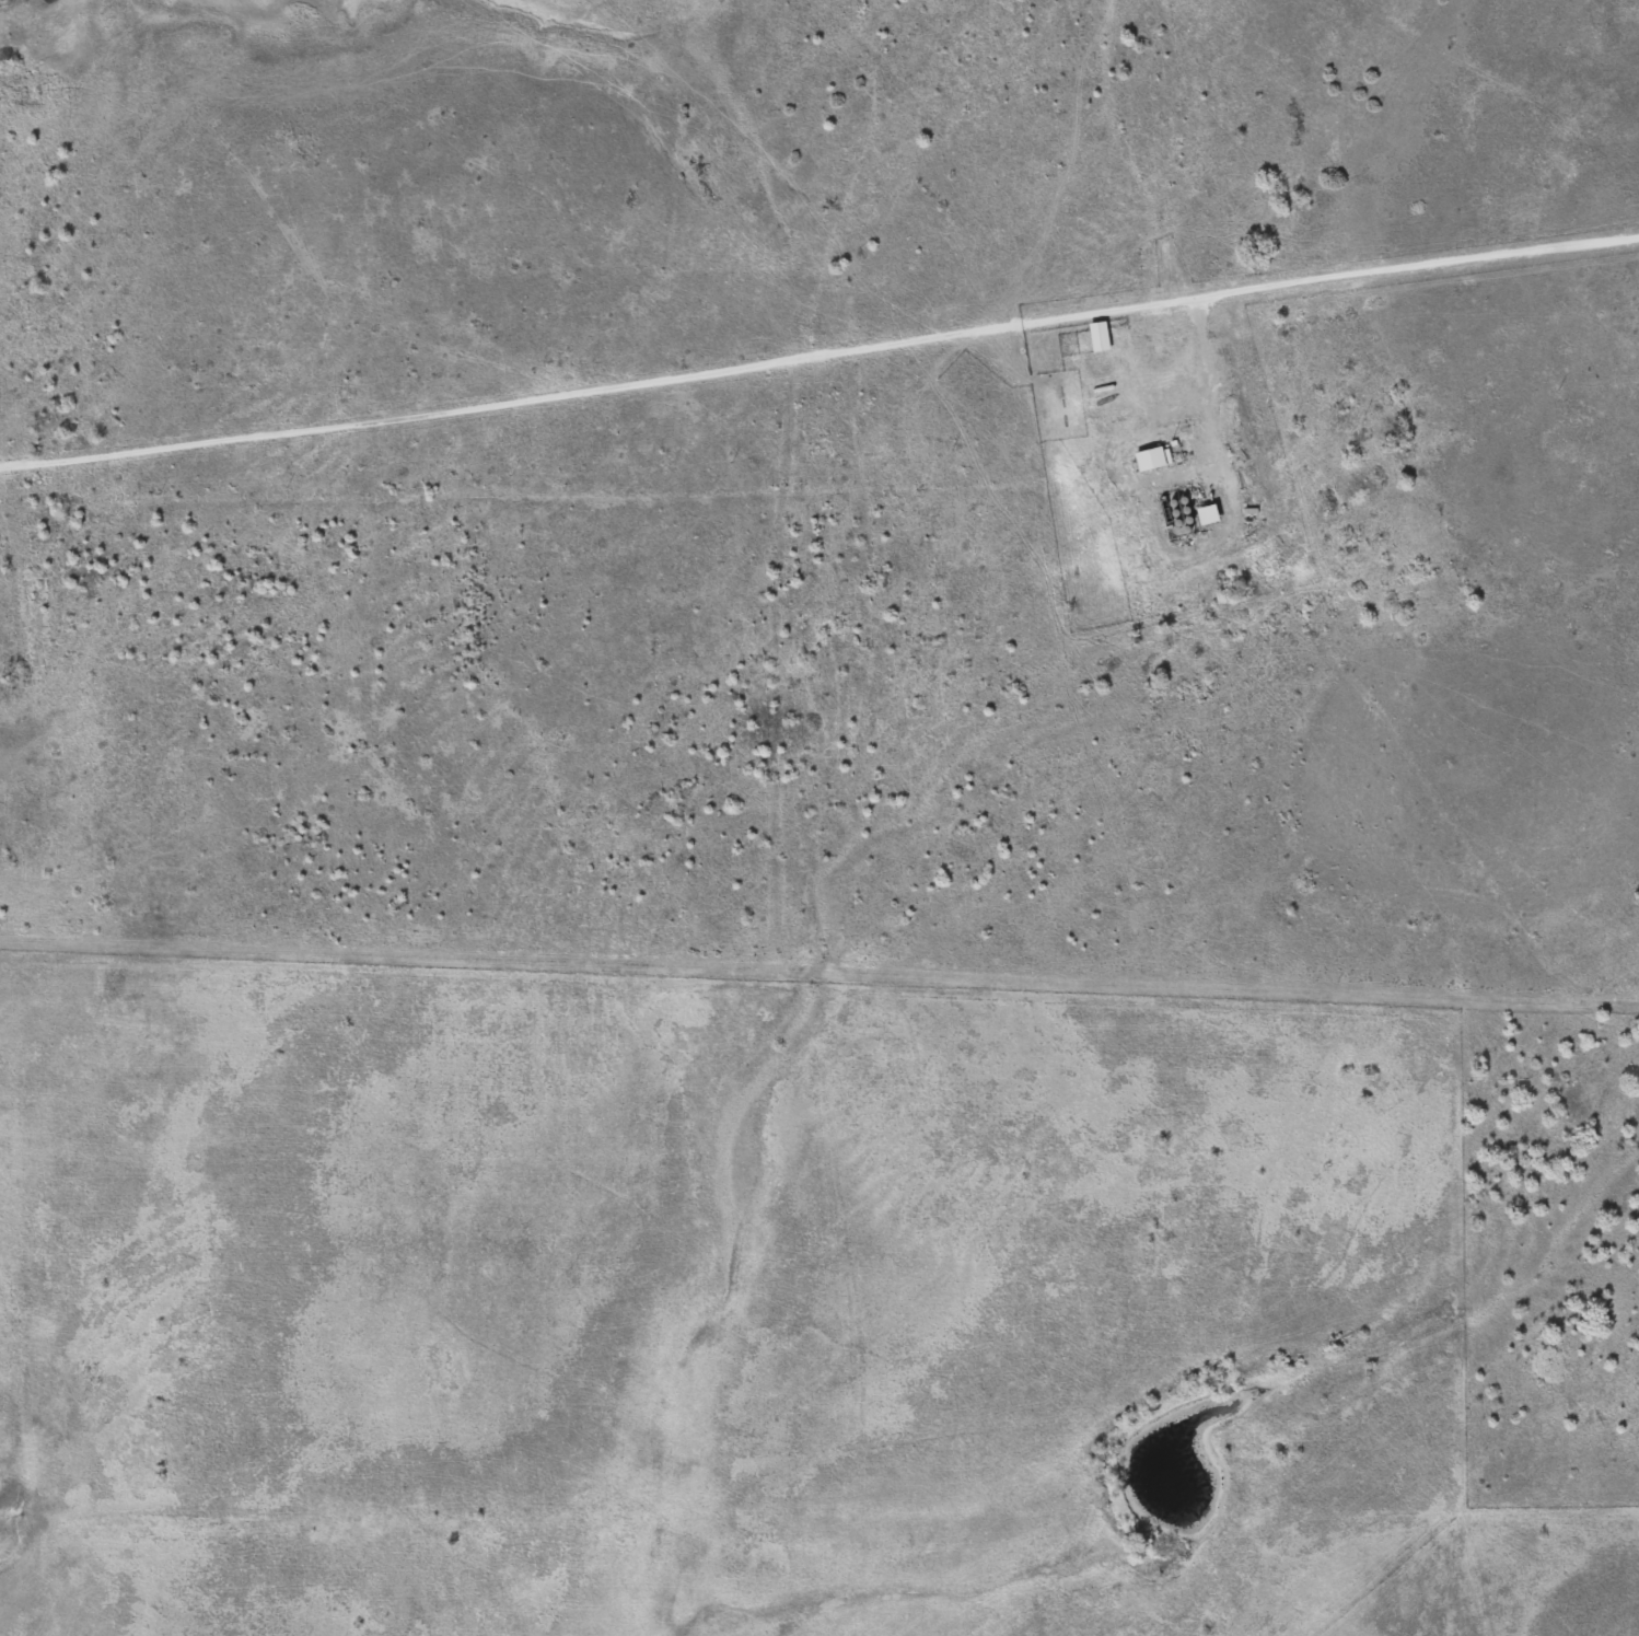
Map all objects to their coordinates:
road: (1508, 90)
road: (819, 352)
road: (1204, 399)
building: (1148, 459)
building: (1205, 515)

